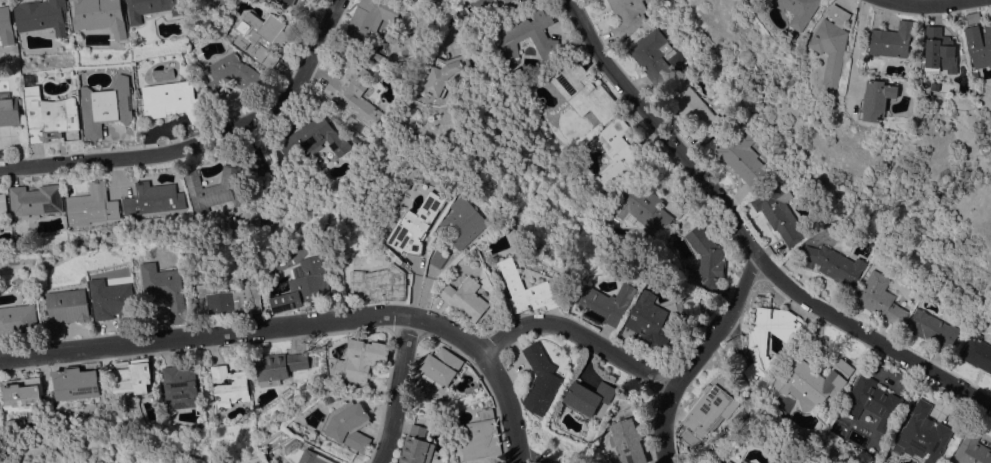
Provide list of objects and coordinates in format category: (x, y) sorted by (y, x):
building: (70, 0)
building: (508, 1)
building: (289, 2)
building: (223, 3)
road: (933, 6)
building: (150, 8)
building: (801, 11)
building: (41, 15)
building: (100, 16)
building: (627, 17)
building: (367, 19)
building: (6, 26)
building: (529, 34)
building: (260, 37)
building: (894, 39)
building: (980, 39)
building: (833, 44)
road: (856, 48)
building: (942, 51)
building: (651, 55)
building: (379, 57)
building: (445, 74)
building: (978, 74)
building: (232, 75)
building: (583, 91)
building: (354, 92)
building: (172, 100)
building: (878, 100)
building: (106, 106)
building: (10, 109)
building: (694, 111)
building: (49, 115)
building: (314, 138)
building: (355, 140)
road: (202, 141)
road: (256, 150)
building: (615, 153)
building: (742, 157)
building: (216, 189)
building: (152, 198)
building: (35, 200)
building: (91, 205)
building: (643, 208)
building: (3, 209)
building: (779, 212)
building: (467, 221)
building: (418, 225)
road: (746, 238)
building: (439, 258)
building: (705, 259)
building: (833, 264)
building: (381, 283)
building: (303, 284)
building: (166, 289)
building: (527, 289)
building: (465, 298)
building: (880, 298)
building: (229, 299)
building: (115, 302)
building: (605, 303)
building: (67, 310)
building: (19, 321)
building: (647, 321)
road: (541, 324)
building: (932, 329)
road: (207, 337)
building: (757, 337)
building: (977, 353)
road: (700, 357)
building: (299, 360)
building: (360, 360)
building: (440, 367)
building: (271, 368)
building: (132, 375)
building: (540, 378)
building: (814, 382)
building: (74, 383)
building: (228, 385)
building: (179, 386)
road: (404, 390)
building: (21, 391)
building: (588, 397)
building: (872, 402)
road: (513, 408)
building: (710, 410)
building: (349, 425)
building: (923, 433)
building: (481, 439)
building: (627, 441)
building: (416, 446)
building: (972, 449)
building: (314, 457)
building: (721, 462)
building: (730, 462)
building: (741, 462)

